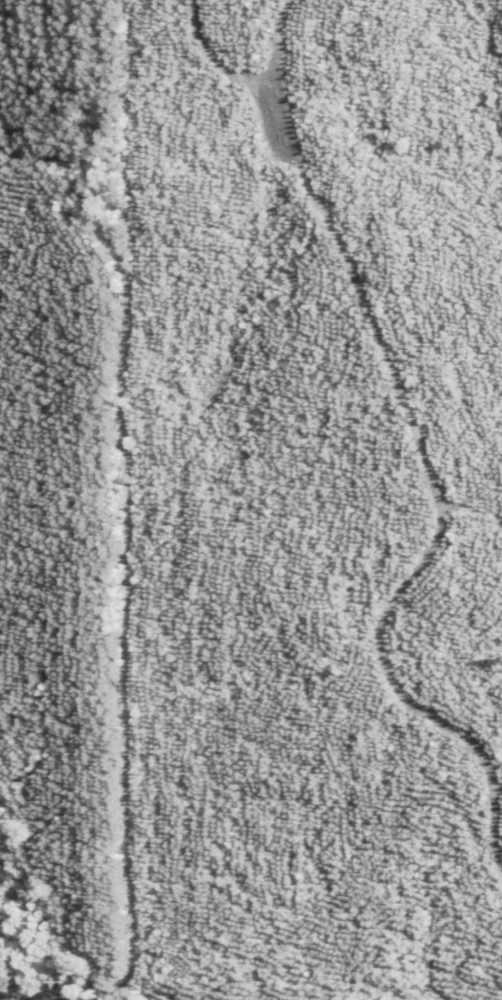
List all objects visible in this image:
road: (28, 992)

